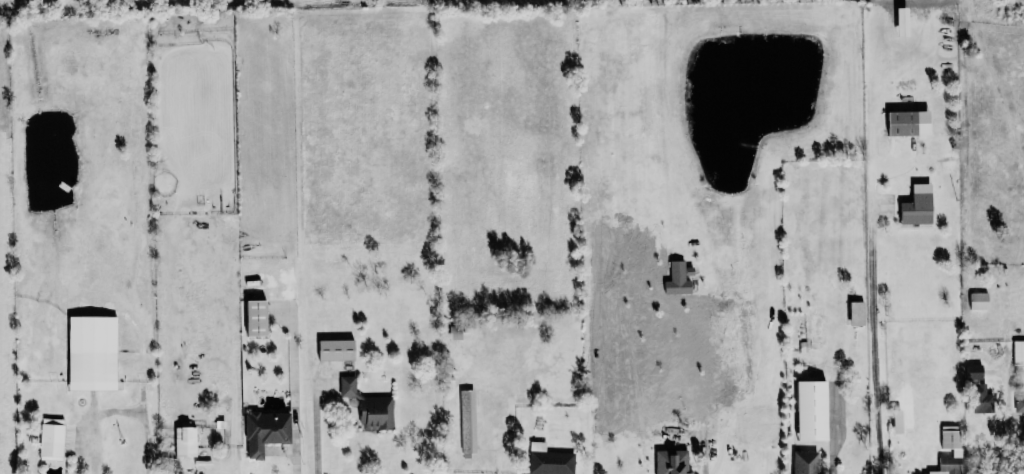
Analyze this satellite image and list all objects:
building: (903, 123)
building: (918, 205)
building: (678, 279)
building: (979, 300)
road: (874, 312)
building: (857, 313)
building: (256, 317)
building: (456, 332)
building: (337, 349)
building: (93, 352)
building: (1018, 352)
building: (974, 371)
road: (295, 394)
building: (982, 399)
building: (1019, 403)
road: (119, 410)
building: (812, 410)
building: (468, 420)
road: (1009, 420)
road: (316, 424)
road: (234, 425)
building: (266, 431)
building: (52, 438)
building: (186, 441)
road: (835, 444)
building: (956, 451)
road: (235, 459)
building: (550, 460)
building: (672, 461)
building: (805, 462)
road: (705, 463)

